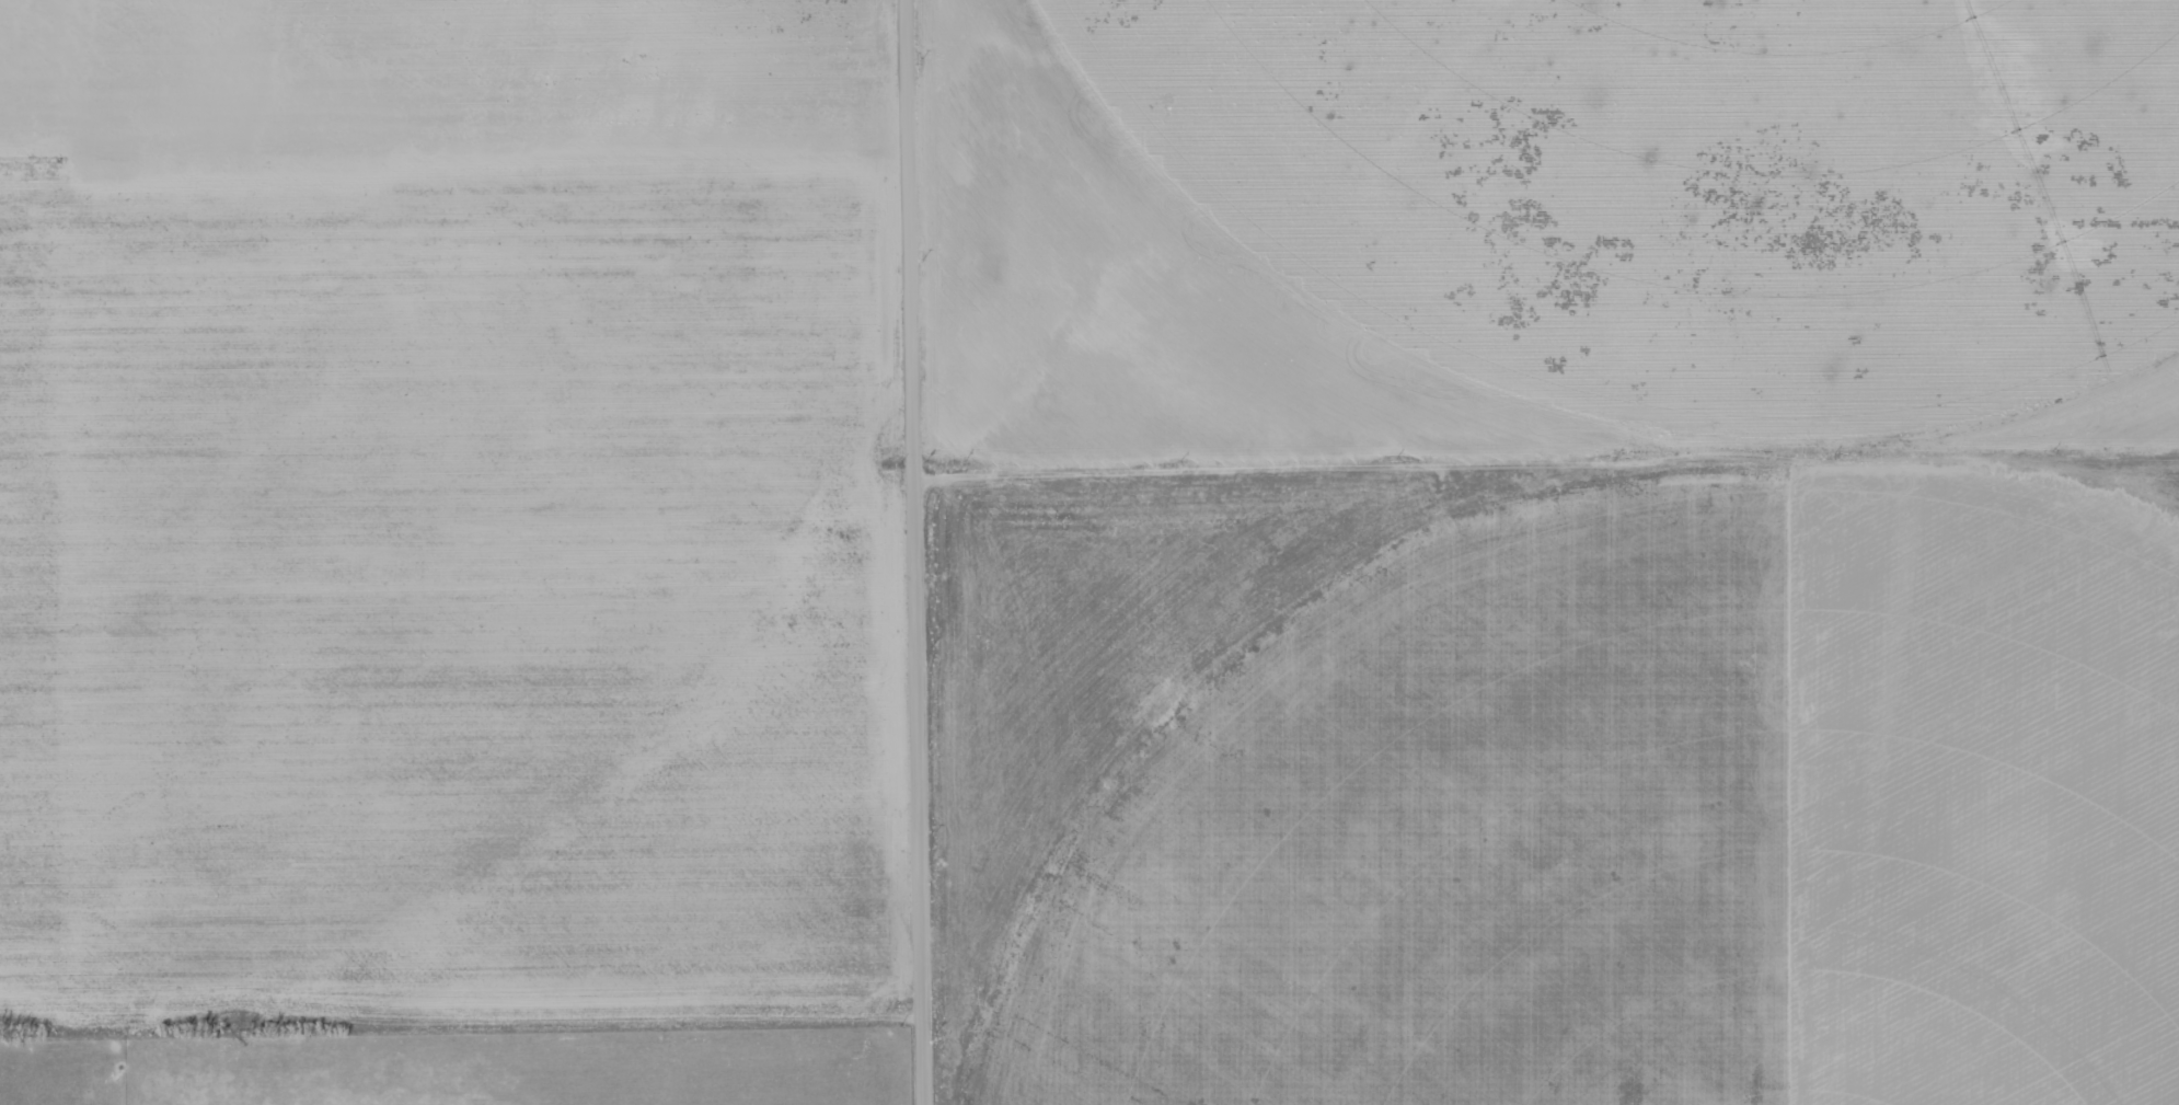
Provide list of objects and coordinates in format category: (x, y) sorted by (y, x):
road: (1603, 240)
road: (1556, 480)
road: (934, 550)

